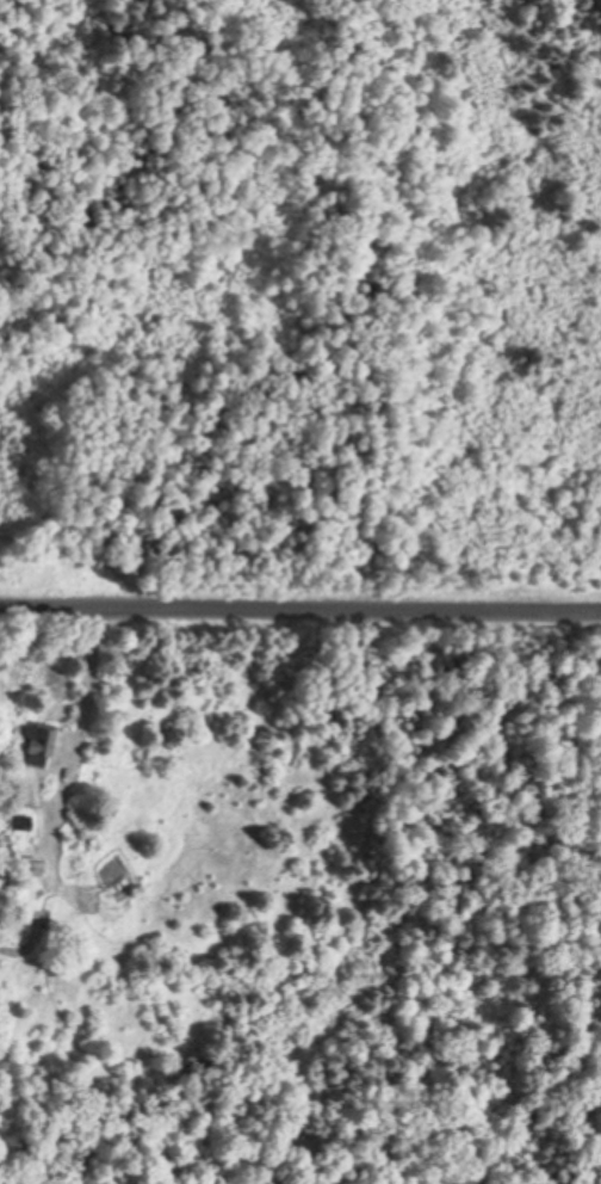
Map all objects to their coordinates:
road: (300, 606)
road: (92, 687)
building: (37, 742)
building: (20, 822)
building: (5, 862)

